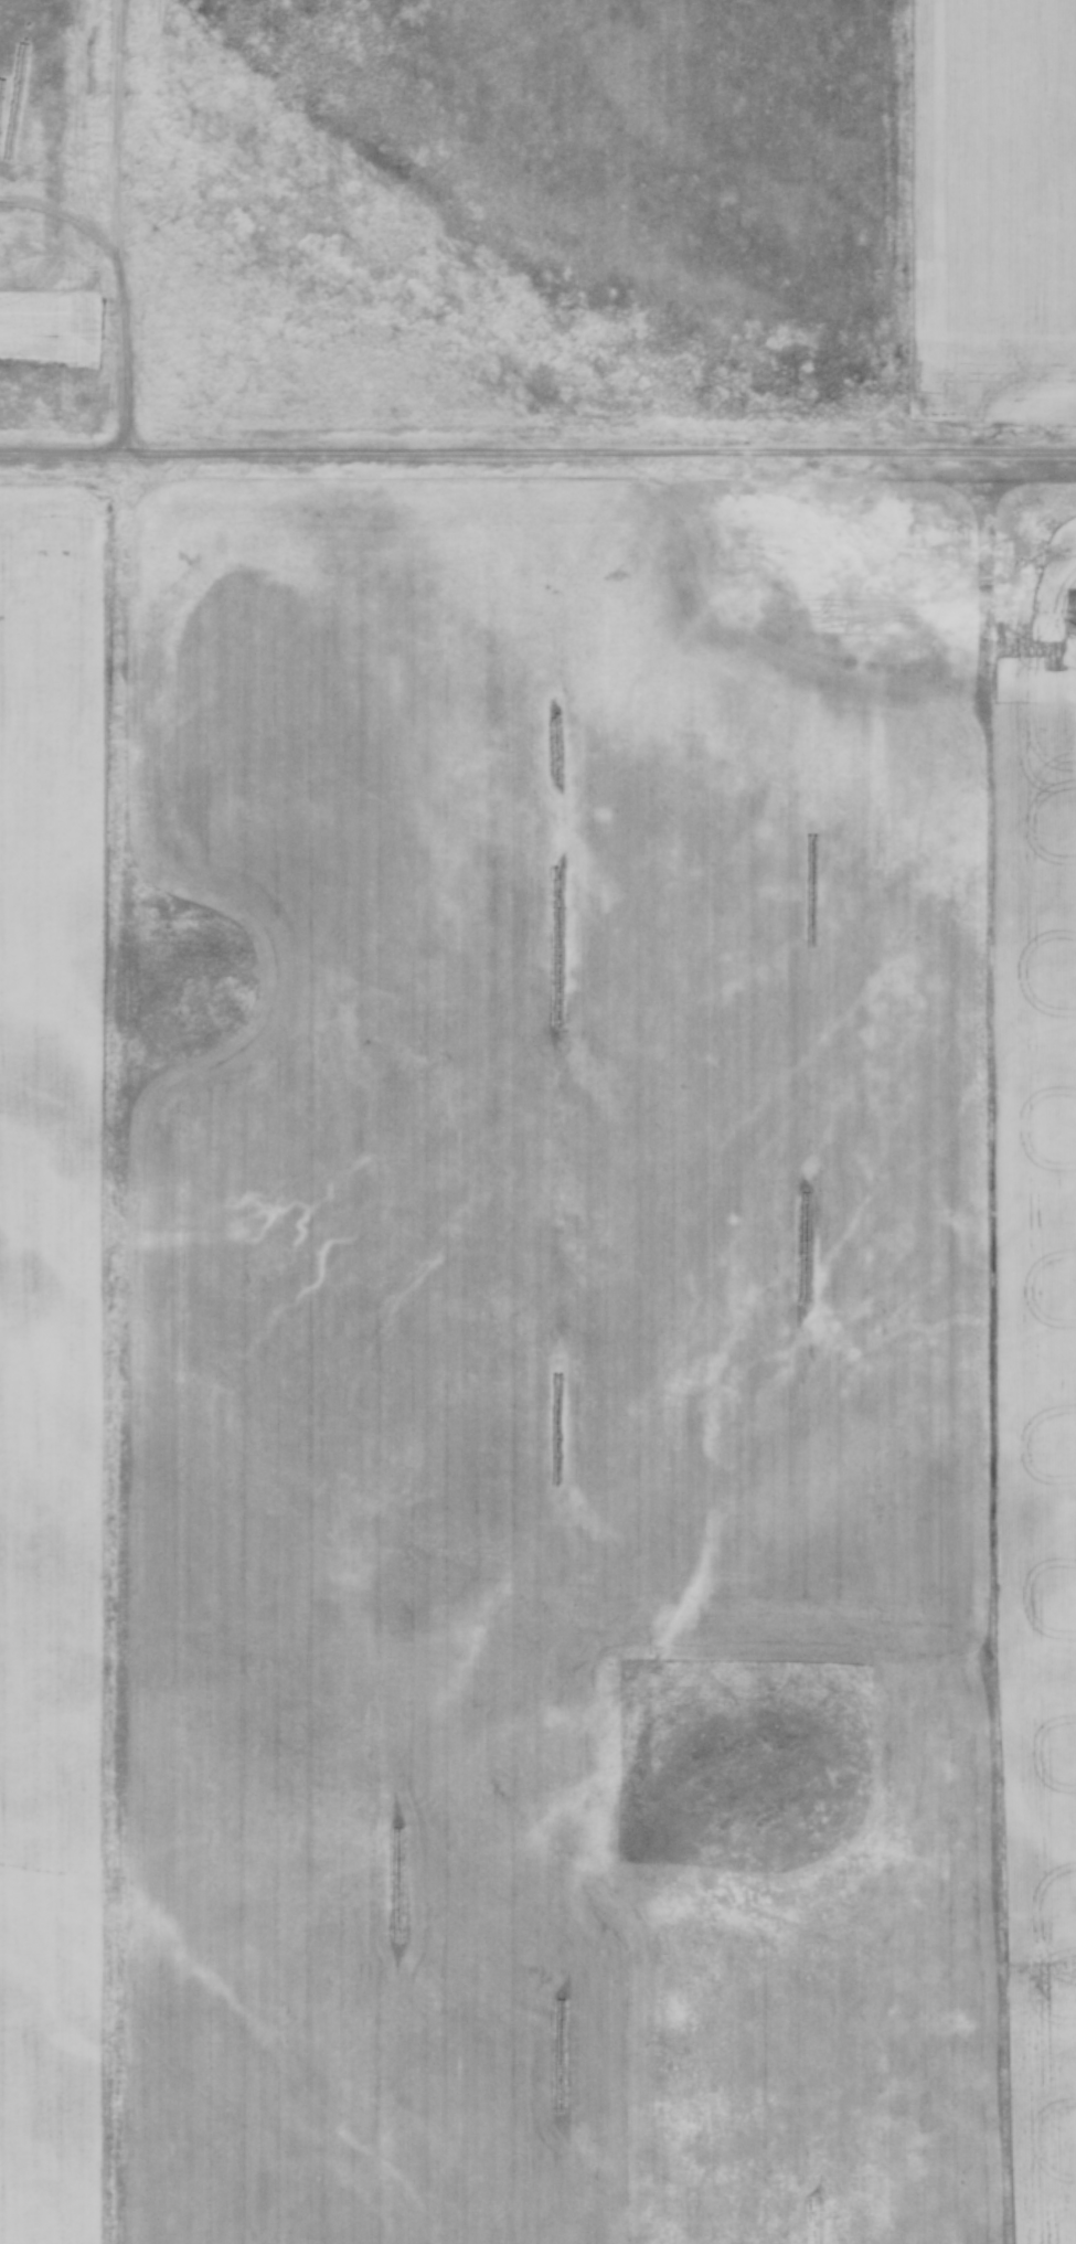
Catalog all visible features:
road: (537, 454)
road: (126, 1120)

